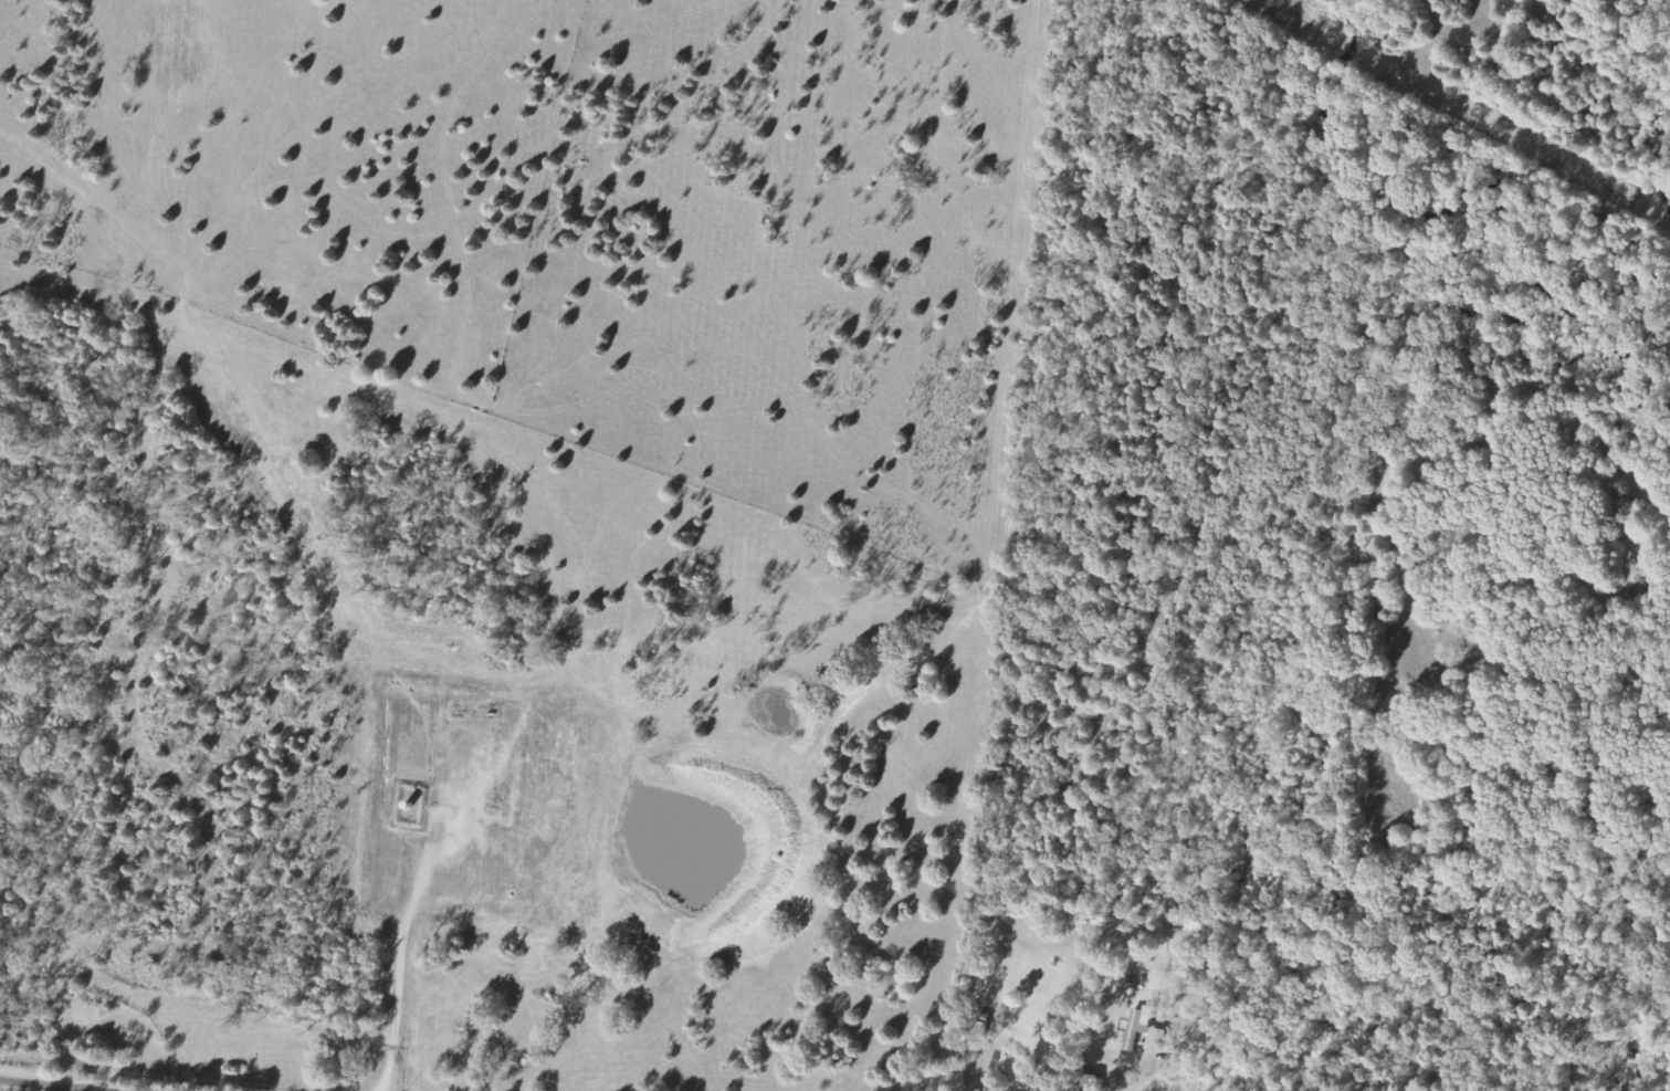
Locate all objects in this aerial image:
building: (1139, 1026)
building: (1012, 1066)
road: (197, 1067)
building: (1091, 1082)
building: (1030, 1083)

